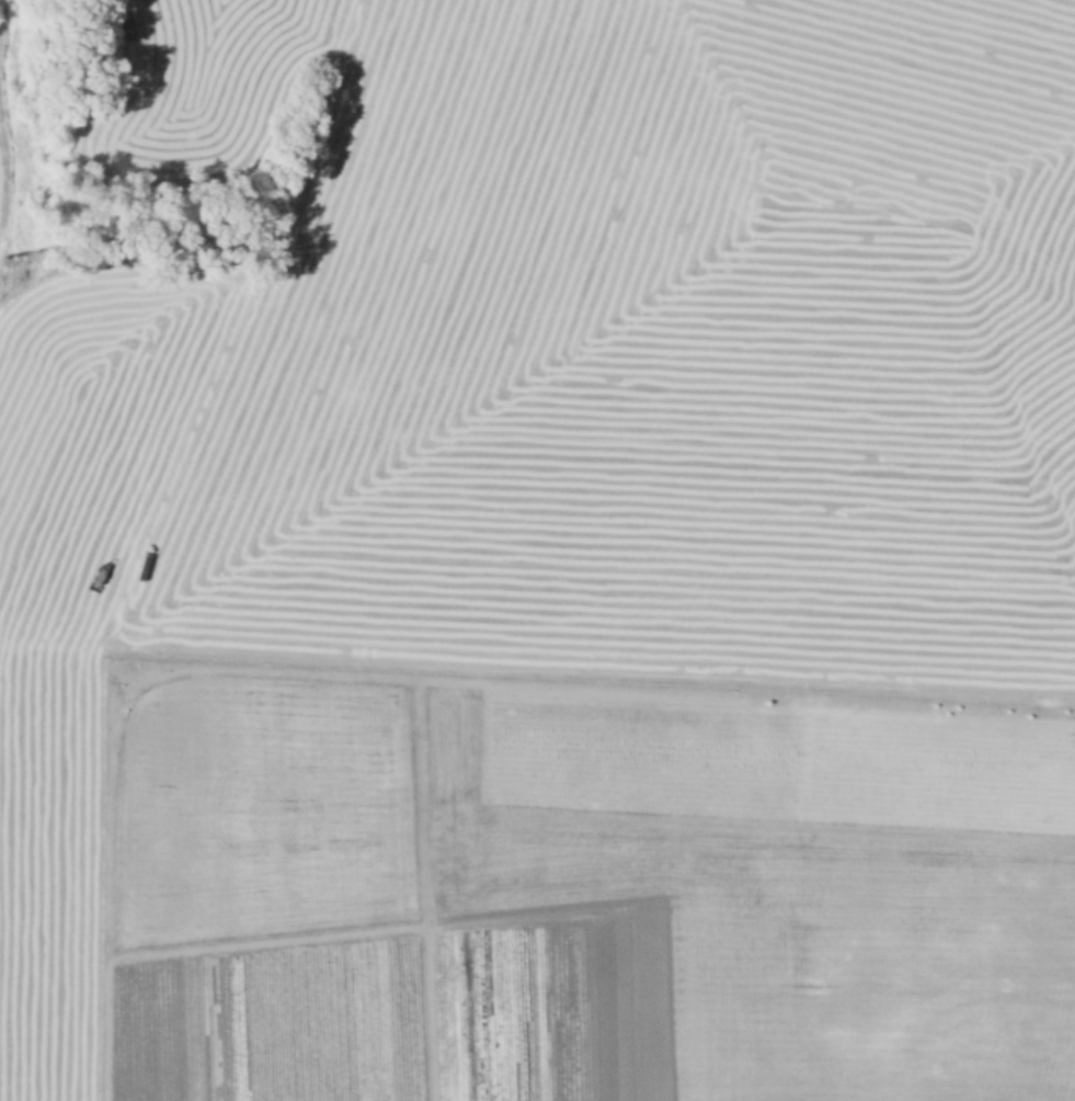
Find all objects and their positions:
crop: (652, 348)
road: (537, 674)
road: (423, 883)
crop: (747, 895)
road: (196, 949)

